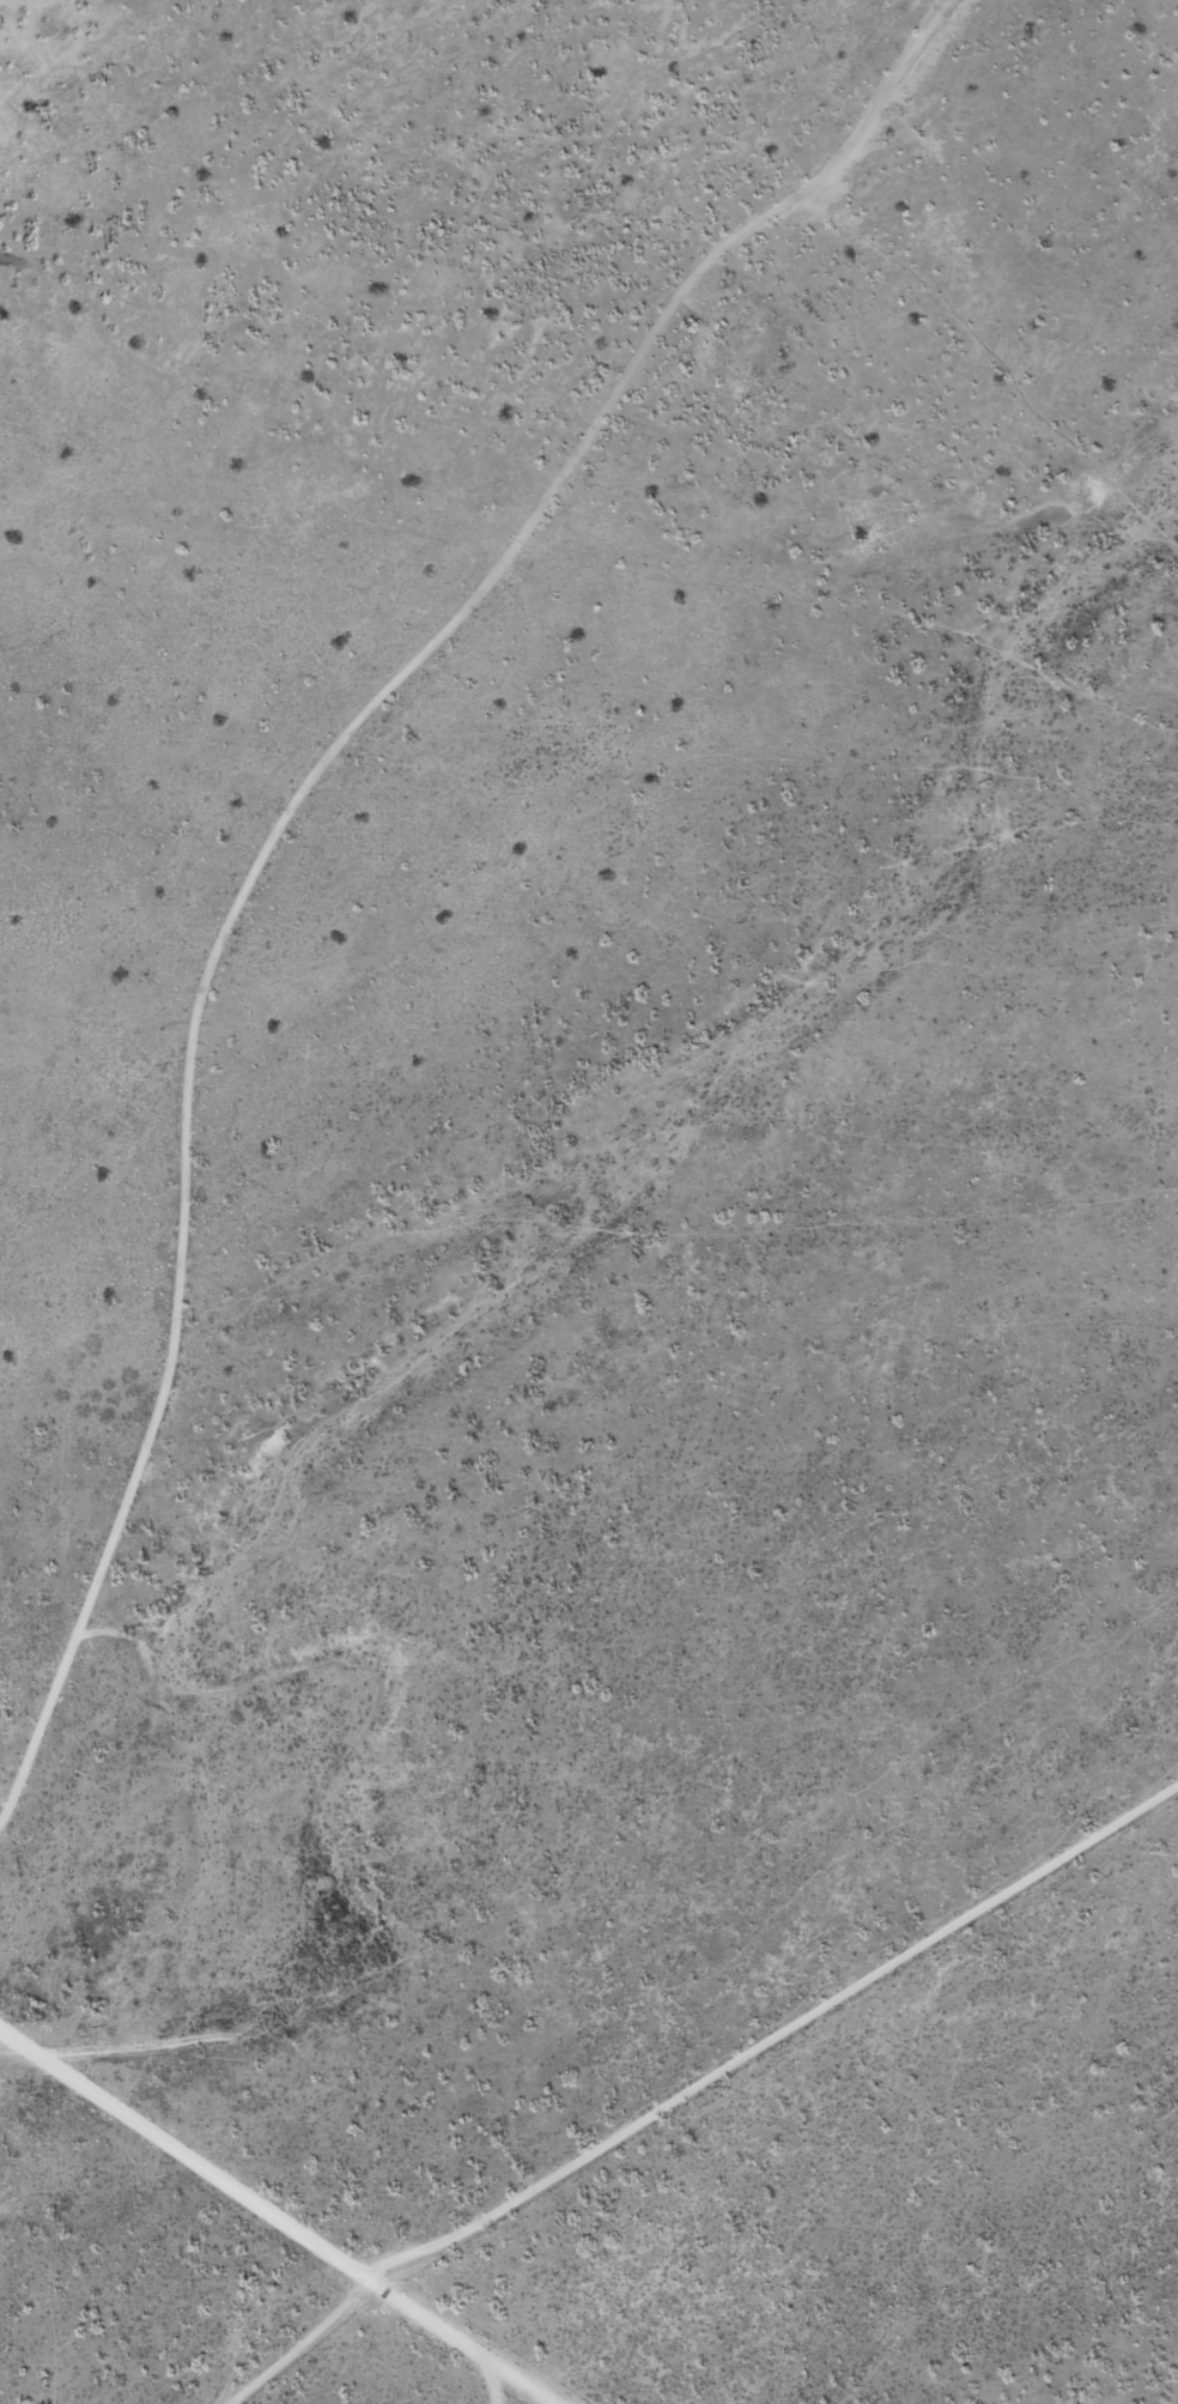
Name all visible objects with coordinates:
road: (324, 832)

